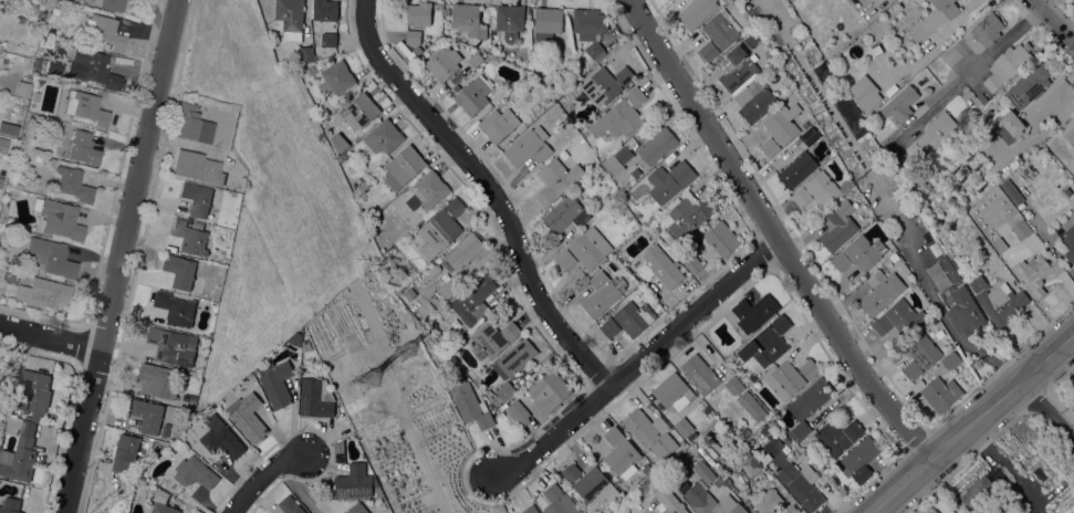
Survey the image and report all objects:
building: (132, 0)
building: (108, 4)
building: (325, 9)
building: (696, 11)
building: (935, 18)
building: (292, 19)
building: (417, 20)
building: (468, 20)
building: (510, 20)
building: (548, 22)
road: (1053, 23)
building: (591, 29)
building: (720, 29)
building: (104, 31)
building: (974, 38)
building: (329, 39)
building: (417, 50)
building: (709, 50)
building: (876, 50)
building: (305, 53)
building: (475, 59)
building: (444, 62)
building: (1007, 65)
building: (52, 66)
building: (90, 66)
building: (736, 67)
road: (972, 67)
building: (336, 77)
building: (605, 84)
building: (1029, 85)
building: (22, 88)
building: (865, 92)
building: (472, 96)
building: (982, 97)
building: (754, 100)
building: (900, 103)
building: (85, 107)
building: (323, 111)
building: (359, 111)
building: (621, 115)
building: (323, 122)
building: (190, 124)
building: (498, 124)
building: (805, 124)
building: (1009, 126)
building: (9, 128)
building: (780, 128)
building: (936, 130)
building: (809, 135)
building: (1070, 136)
building: (384, 137)
building: (338, 142)
building: (633, 144)
building: (2, 145)
building: (656, 145)
building: (529, 146)
building: (82, 148)
building: (345, 154)
building: (618, 159)
building: (49, 161)
building: (406, 164)
building: (197, 167)
building: (797, 169)
building: (921, 169)
building: (557, 178)
building: (669, 180)
building: (72, 184)
building: (846, 185)
building: (15, 186)
building: (429, 189)
building: (816, 189)
road: (489, 191)
building: (196, 198)
building: (565, 213)
building: (689, 214)
building: (58, 218)
building: (967, 223)
building: (837, 228)
building: (440, 229)
building: (961, 229)
building: (1021, 229)
road: (773, 233)
building: (189, 237)
building: (721, 238)
building: (1070, 242)
building: (999, 244)
building: (590, 247)
building: (976, 248)
building: (463, 250)
building: (859, 253)
building: (982, 254)
road: (118, 255)
building: (51, 256)
building: (565, 259)
building: (692, 263)
building: (659, 266)
building: (180, 270)
building: (949, 270)
building: (1036, 272)
building: (451, 284)
building: (880, 291)
building: (42, 293)
building: (409, 293)
building: (599, 293)
building: (473, 299)
building: (997, 300)
building: (175, 307)
building: (964, 310)
building: (754, 312)
building: (898, 317)
building: (628, 320)
road: (49, 336)
building: (294, 338)
building: (492, 338)
building: (767, 342)
building: (173, 345)
building: (305, 346)
power tower: (407, 352)
building: (919, 355)
building: (515, 356)
building: (950, 359)
power tower: (977, 363)
road: (637, 364)
building: (810, 368)
building: (700, 373)
power tower: (367, 378)
building: (783, 378)
building: (157, 379)
building: (275, 383)
building: (733, 385)
building: (505, 390)
building: (549, 390)
building: (33, 392)
building: (941, 392)
building: (1073, 394)
building: (315, 397)
building: (811, 398)
building: (677, 399)
building: (470, 404)
building: (751, 405)
road: (1046, 411)
building: (520, 412)
building: (148, 415)
building: (247, 416)
road: (972, 421)
building: (341, 423)
building: (800, 430)
building: (745, 431)
building: (650, 432)
building: (811, 432)
building: (837, 435)
building: (614, 436)
building: (221, 437)
building: (749, 442)
building: (20, 449)
building: (125, 451)
building: (338, 451)
building: (622, 457)
building: (858, 460)
building: (744, 462)
building: (713, 464)
building: (194, 471)
building: (651, 475)
road: (264, 478)
building: (354, 481)
building: (717, 481)
building: (591, 483)
building: (802, 485)
building: (979, 489)
road: (299, 490)
building: (378, 492)
building: (160, 494)
building: (708, 500)
building: (559, 501)
building: (668, 501)
building: (768, 501)
building: (10, 505)
building: (288, 505)
building: (377, 506)
building: (163, 509)
building: (357, 509)
building: (530, 509)
building: (614, 510)
building: (932, 511)
road: (874, 512)

